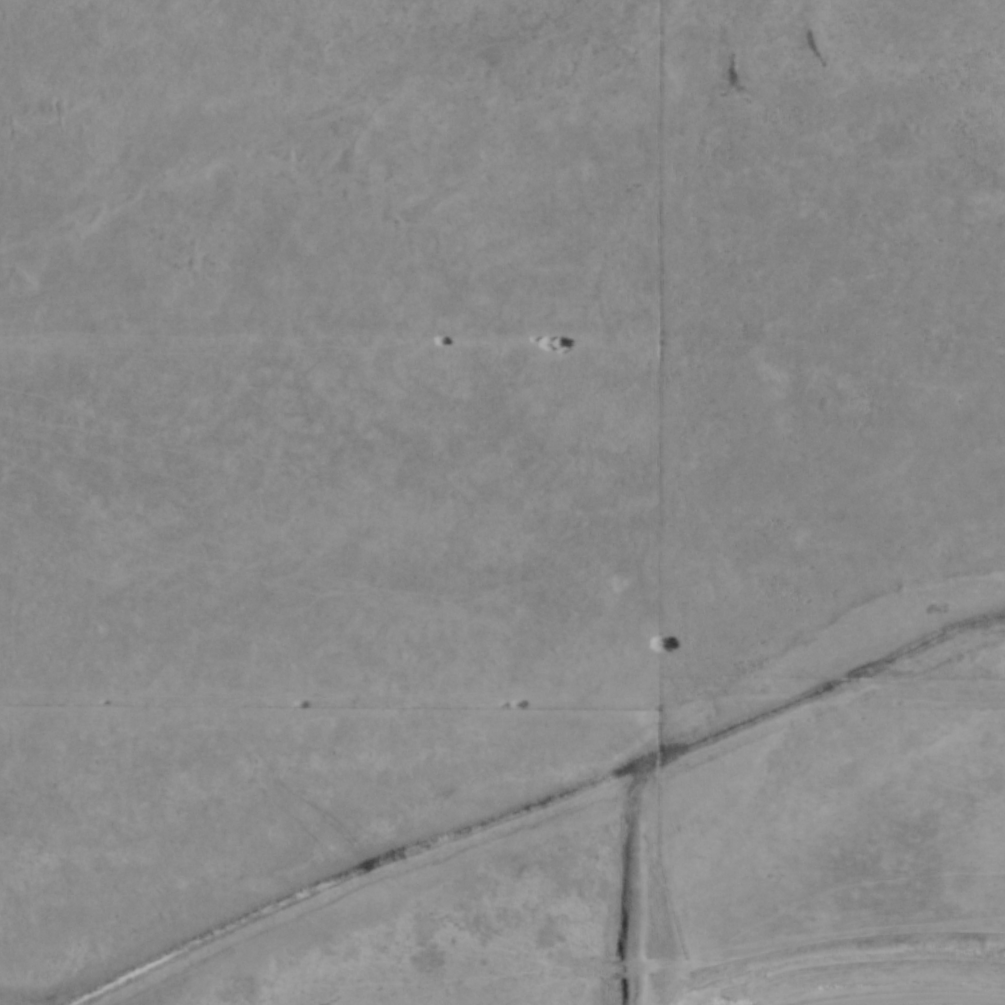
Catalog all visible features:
road: (882, 1004)

